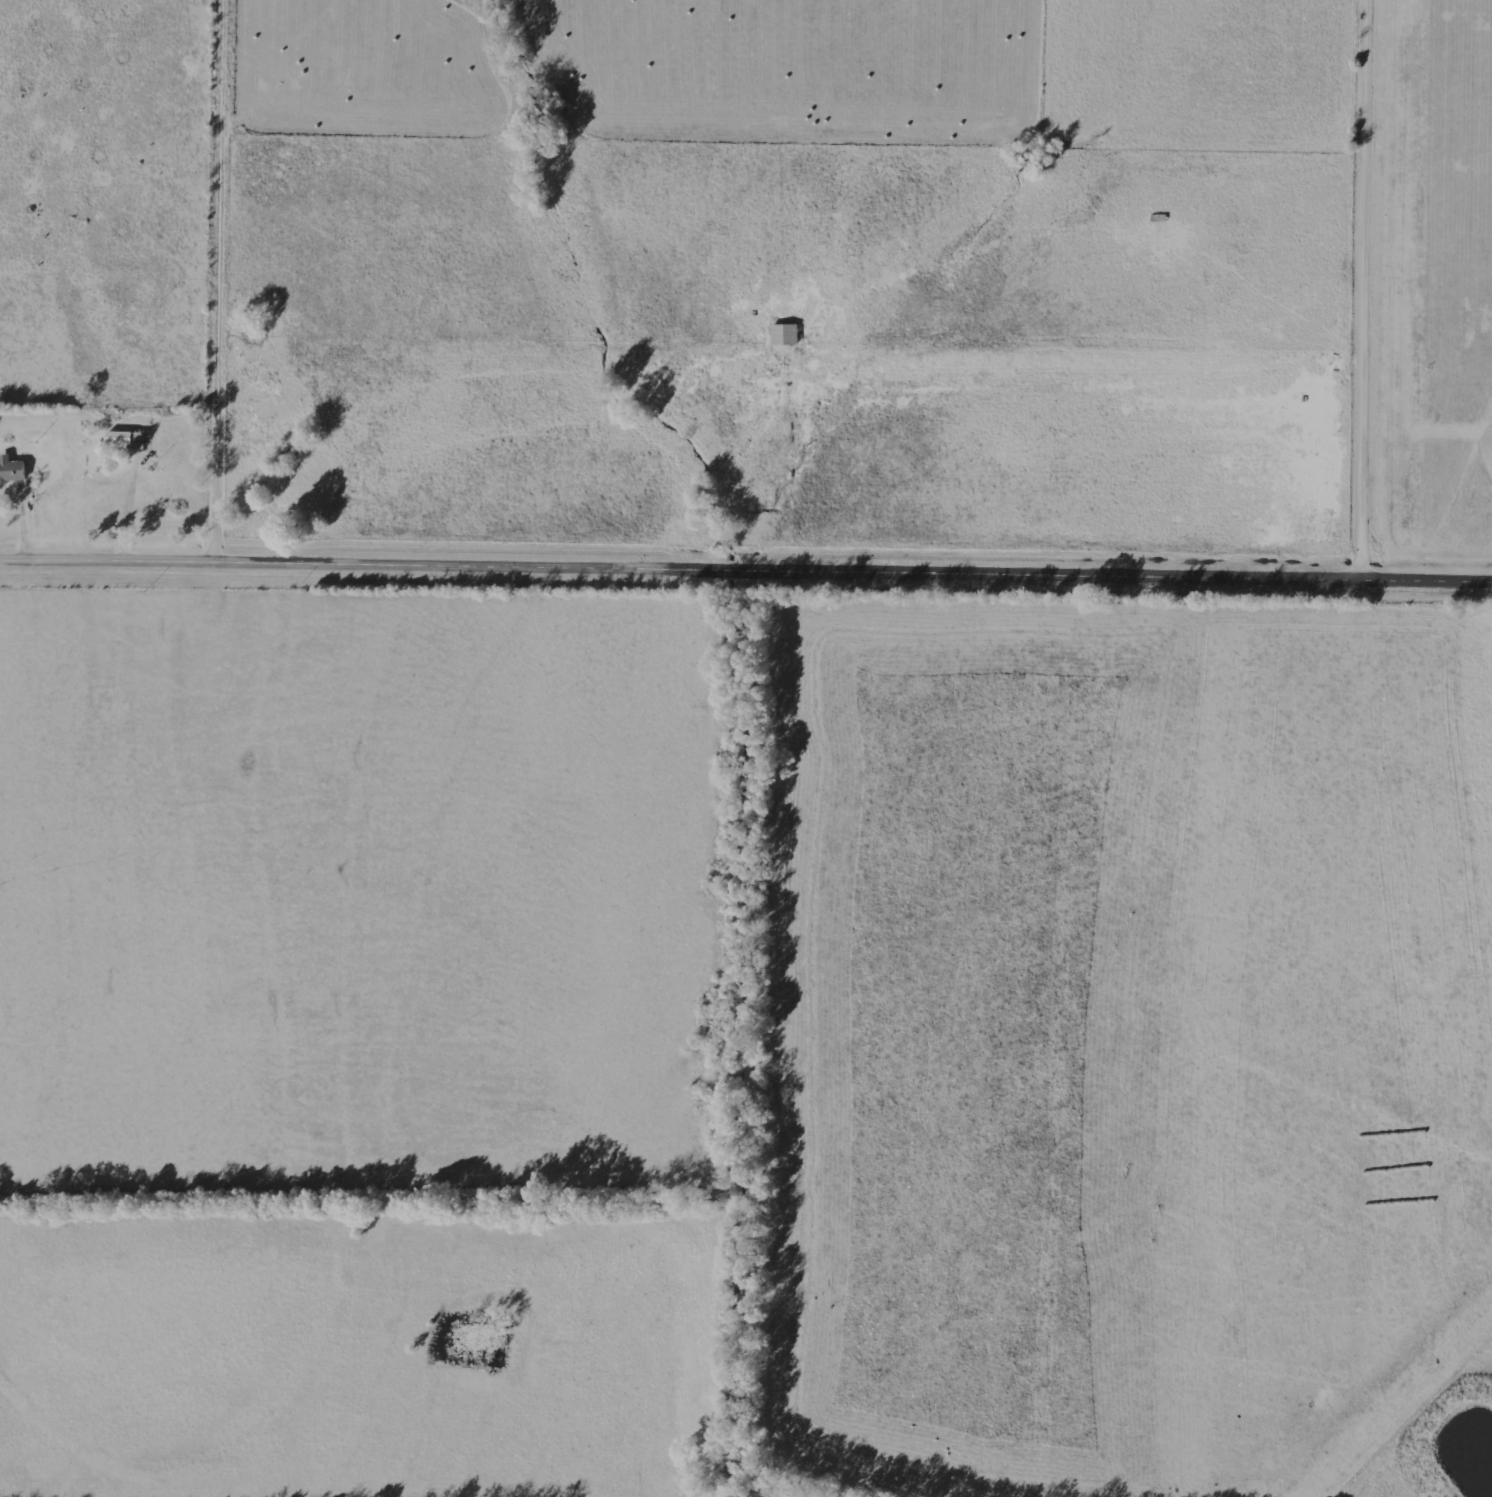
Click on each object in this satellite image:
road: (227, 279)
road: (1371, 289)
building: (785, 335)
building: (127, 440)
building: (12, 471)
road: (746, 568)

